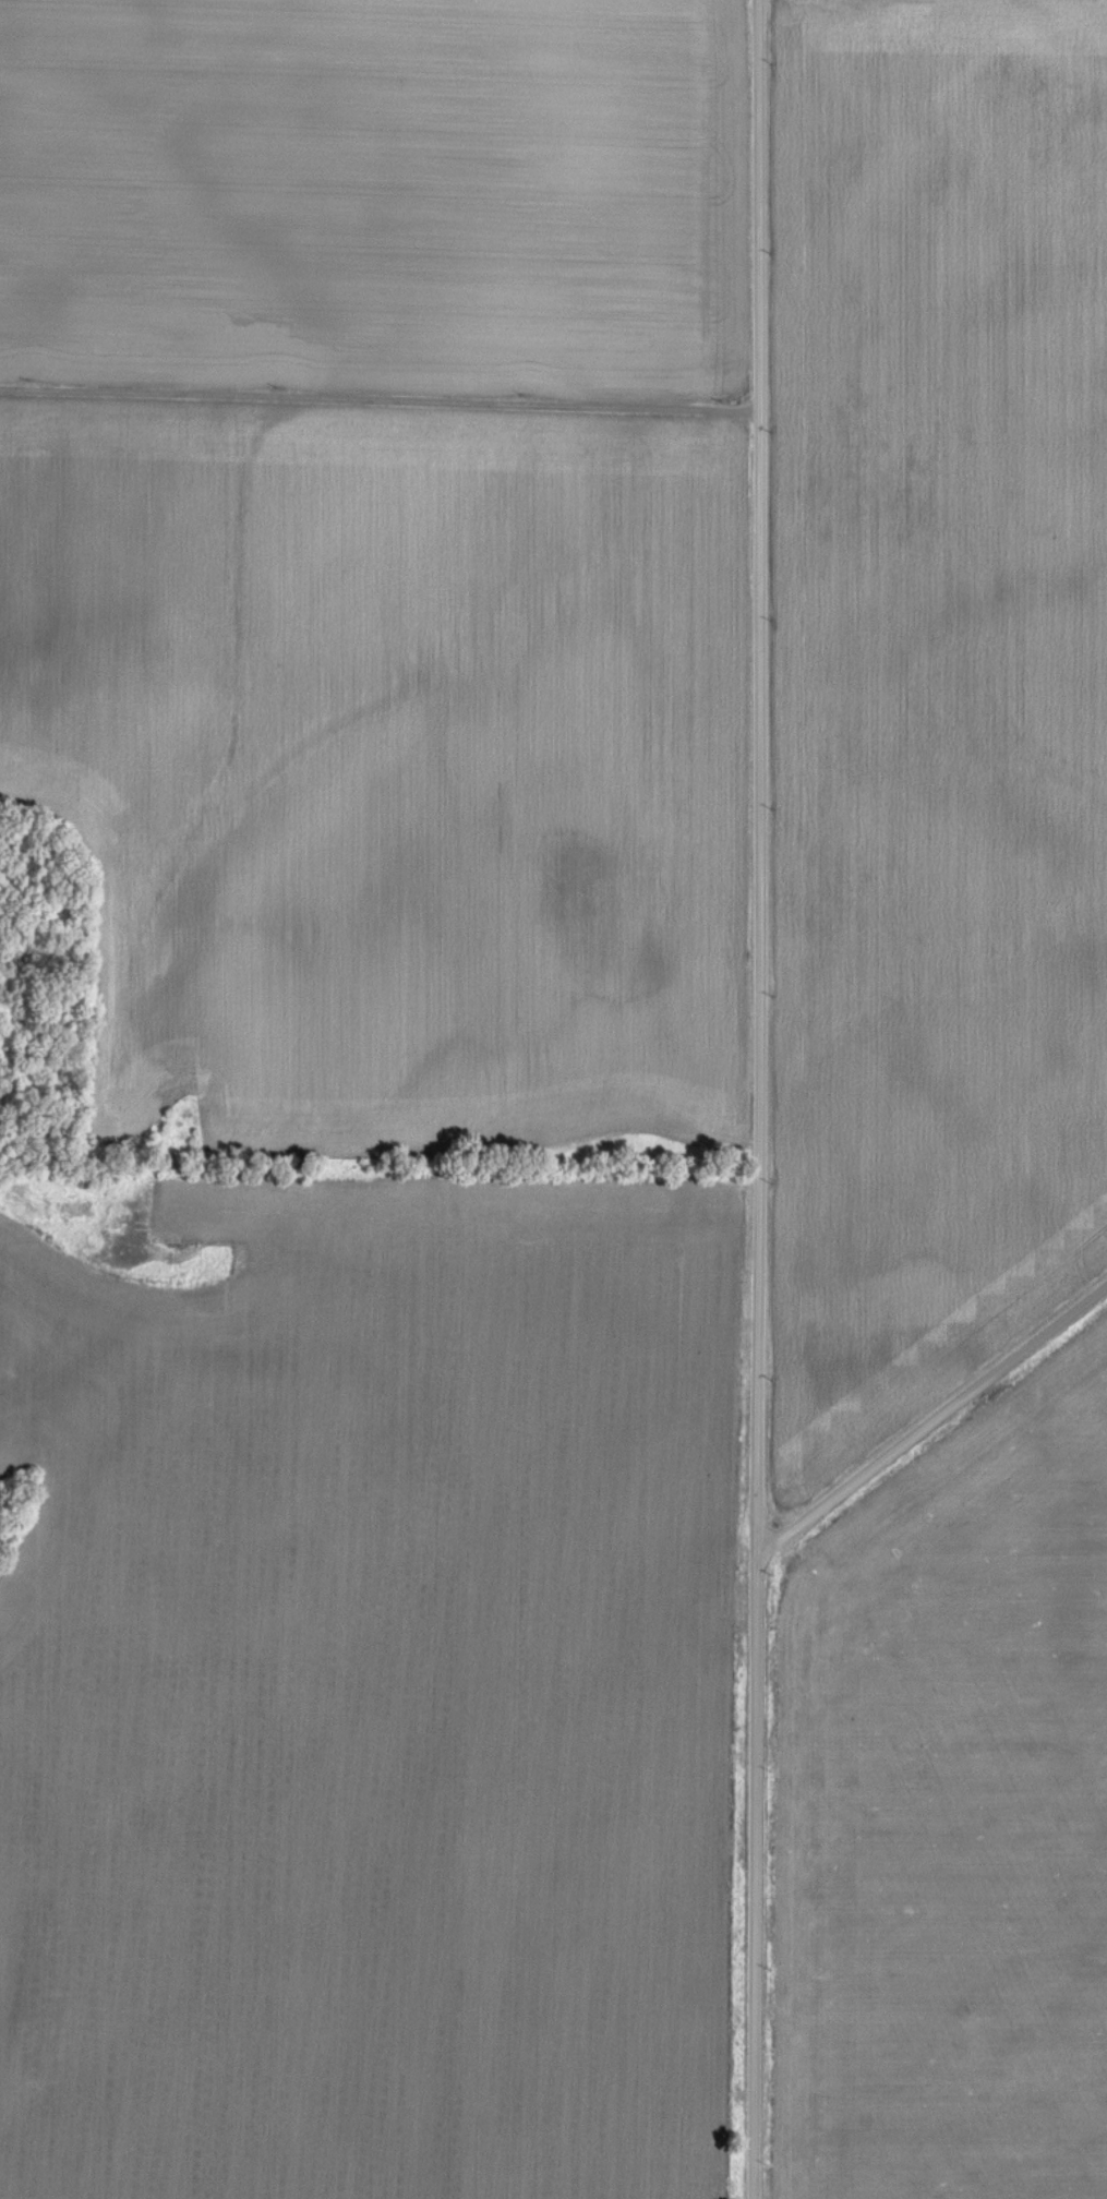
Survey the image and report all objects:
road: (381, 400)
road: (761, 1103)
road: (951, 1385)

